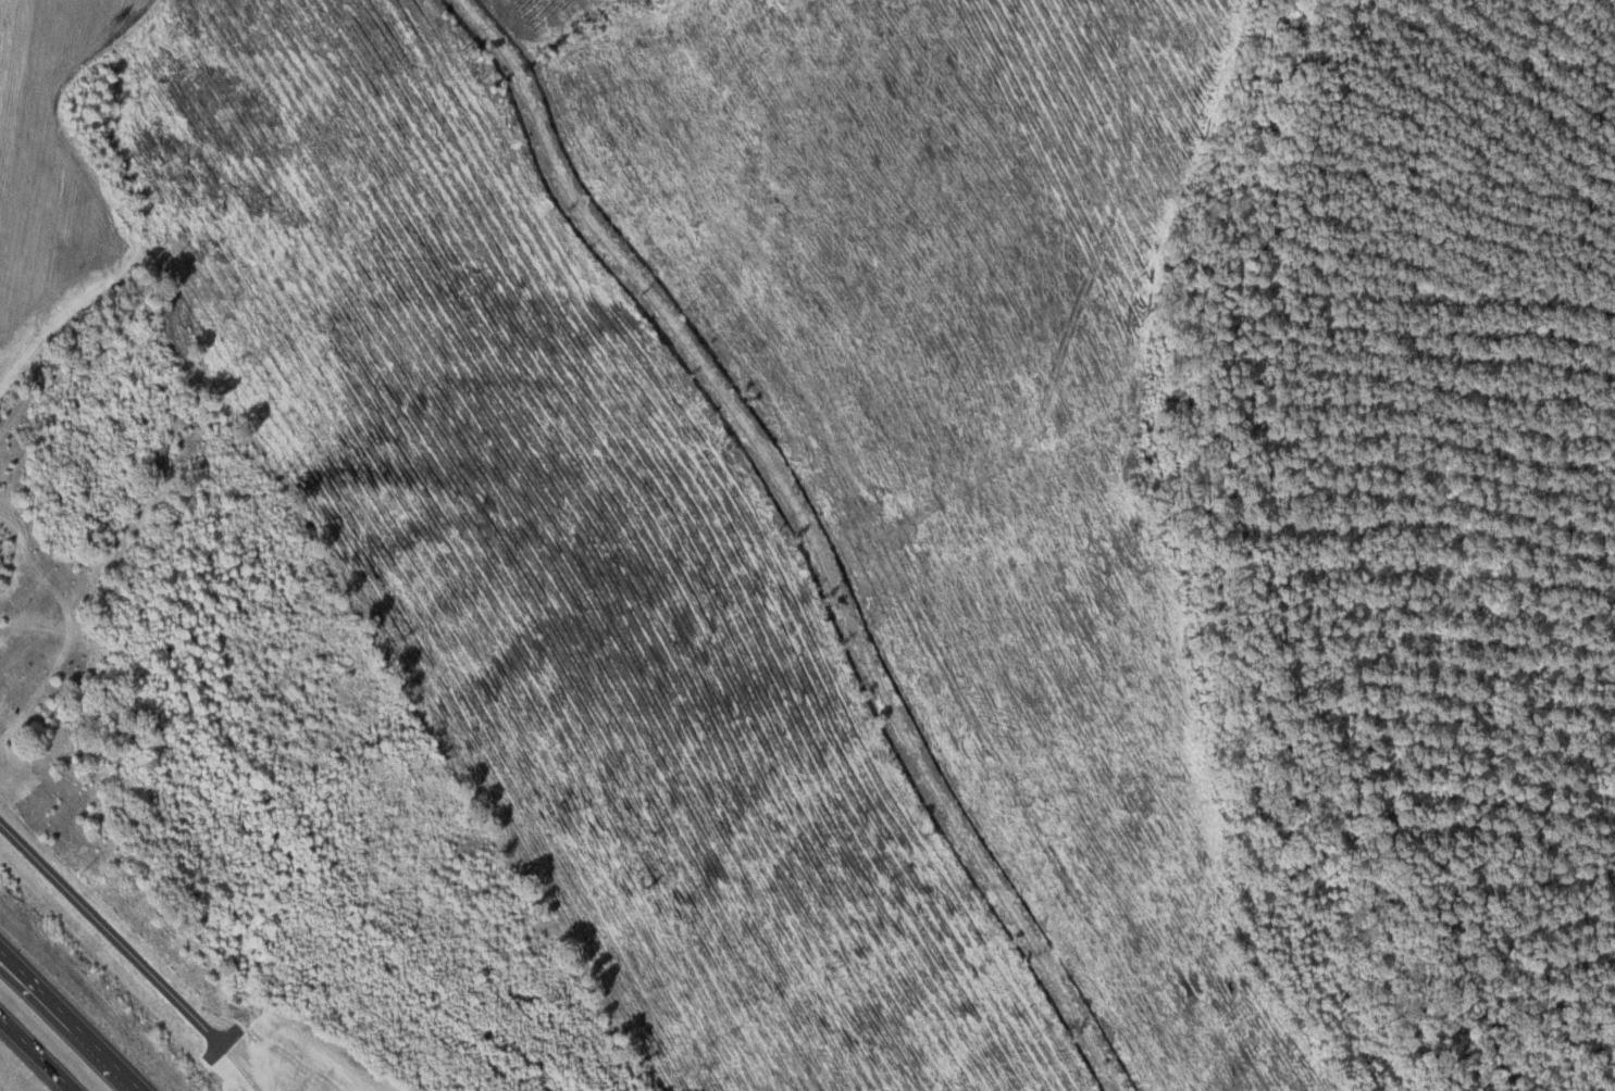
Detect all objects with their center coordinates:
road: (110, 930)
road: (14, 969)
road: (70, 1020)
road: (35, 1055)

